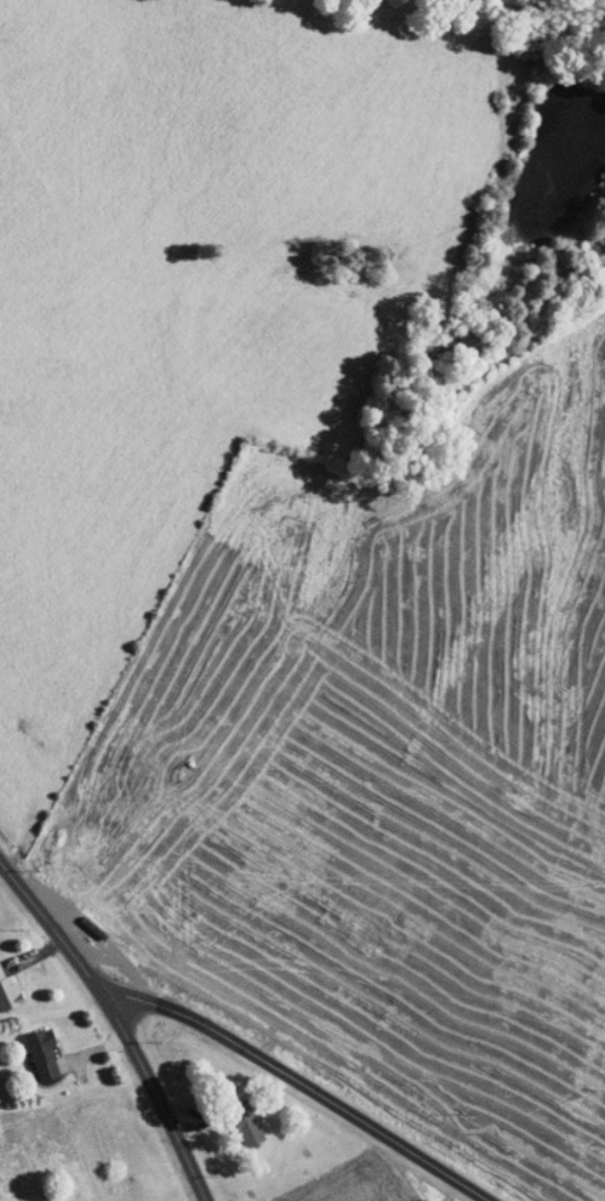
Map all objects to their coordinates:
road: (34, 954)
building: (8, 991)
road: (119, 1021)
road: (98, 1047)
building: (46, 1053)
road: (302, 1082)
road: (199, 1122)
building: (249, 1122)
building: (276, 1171)

